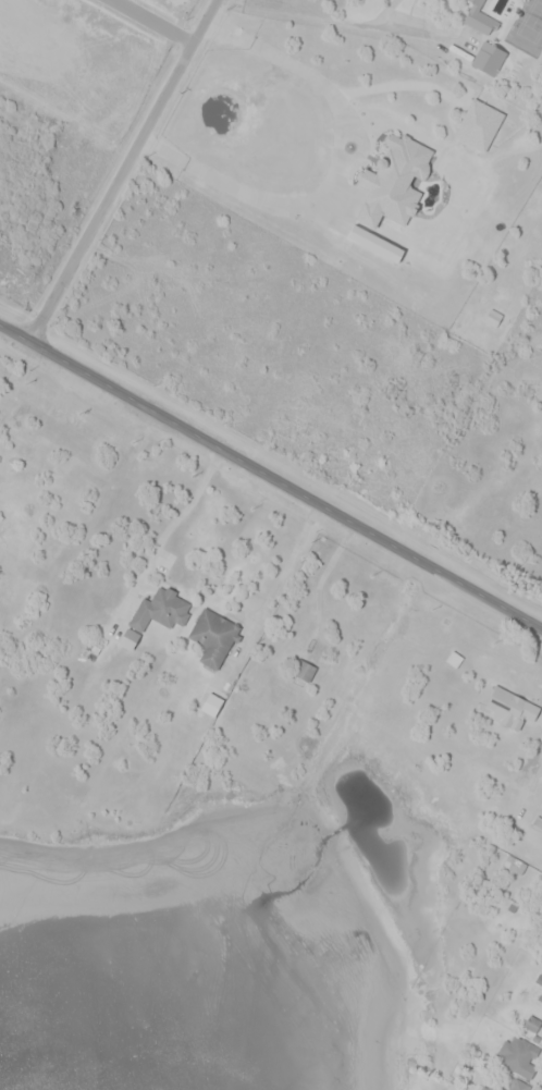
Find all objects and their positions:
building: (481, 19)
road: (153, 22)
building: (490, 58)
building: (479, 124)
road: (123, 169)
building: (394, 181)
building: (375, 242)
building: (492, 317)
road: (271, 473)
road: (286, 563)
building: (162, 610)
building: (130, 638)
building: (215, 638)
building: (306, 671)
building: (262, 686)
building: (211, 703)
building: (510, 708)
road: (533, 774)
building: (539, 821)
building: (516, 865)
building: (541, 997)
building: (532, 1024)
building: (520, 1055)
building: (508, 1085)

